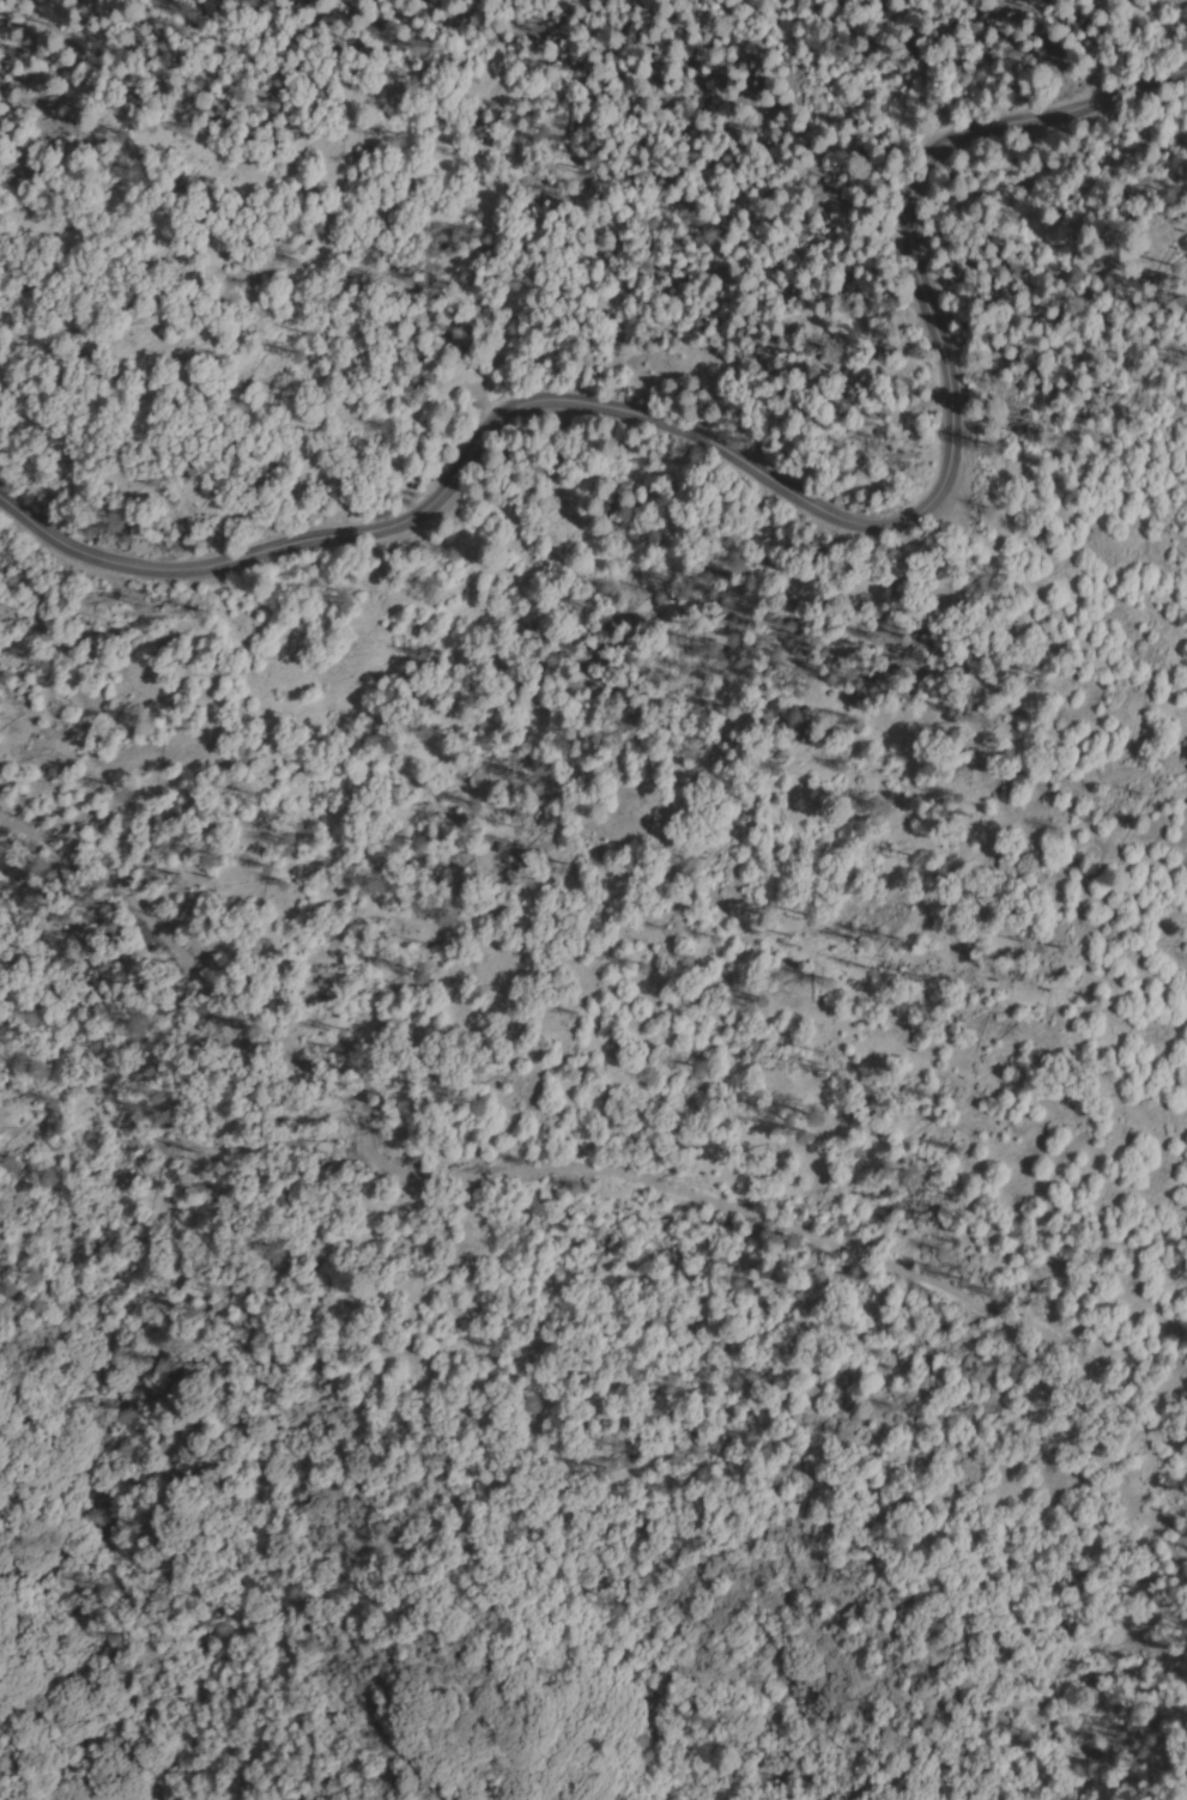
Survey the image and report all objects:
road: (753, 466)
road: (568, 1160)

